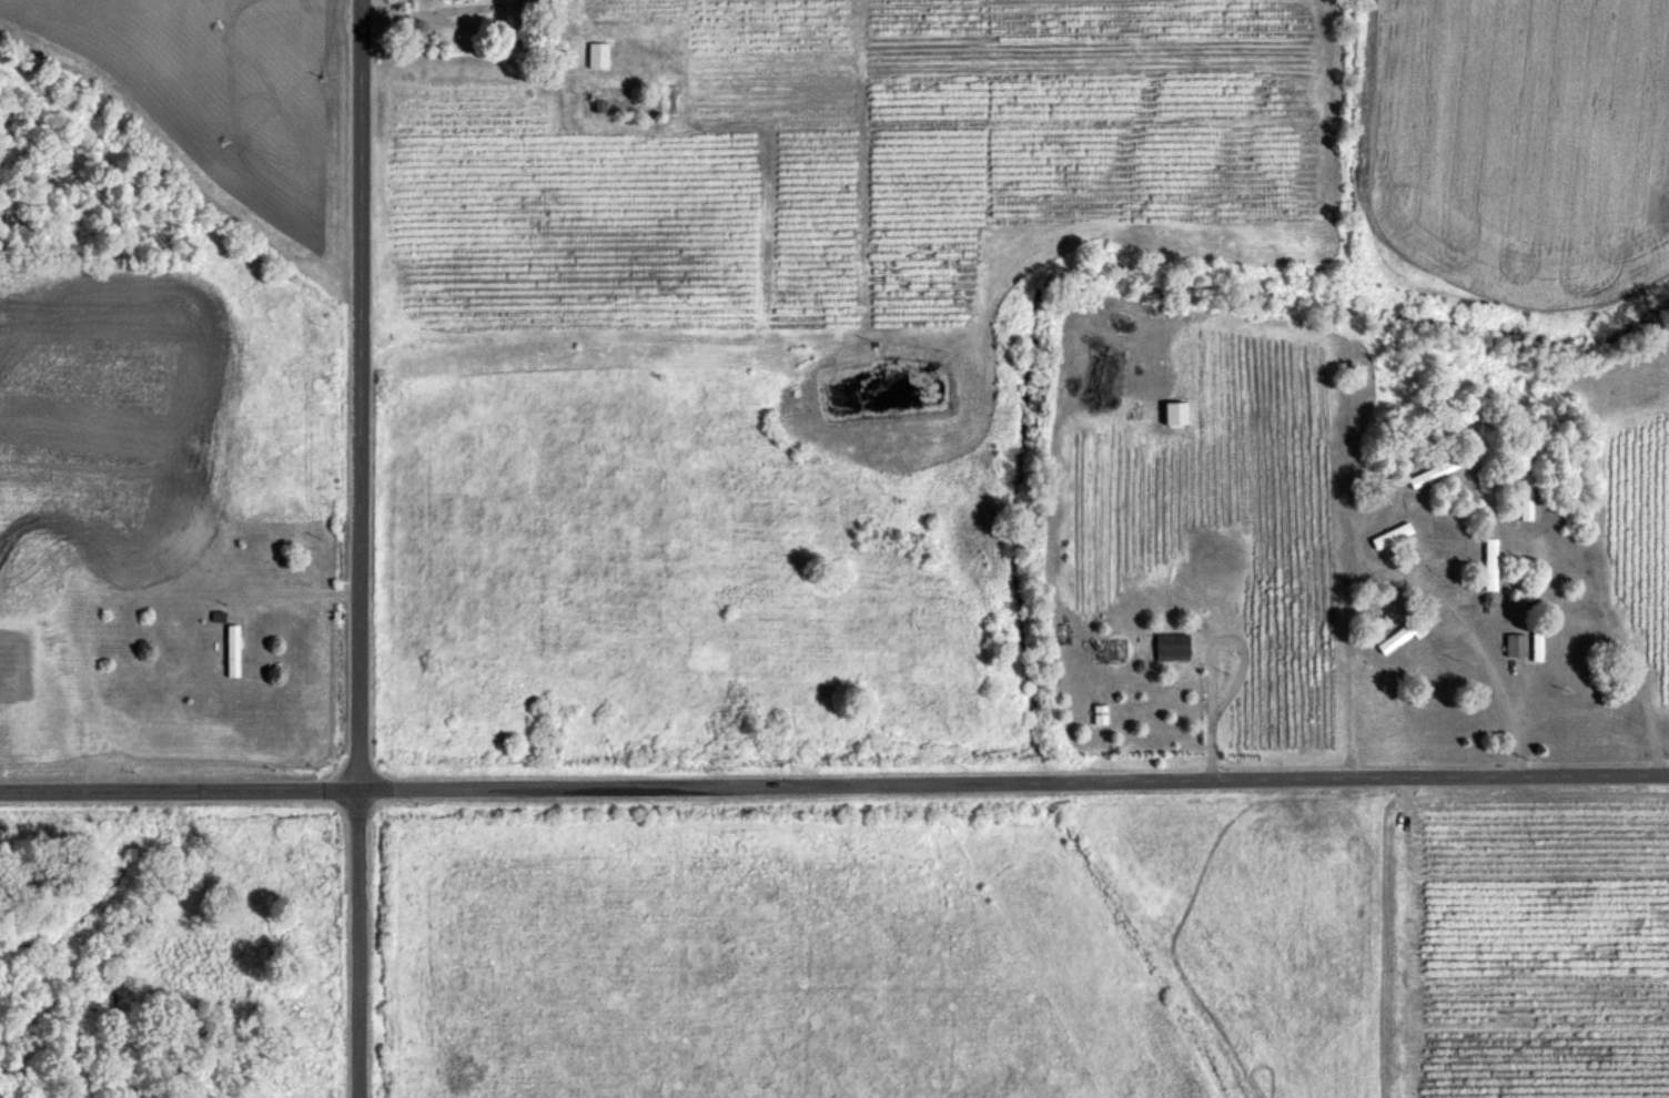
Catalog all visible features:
building: (596, 54)
building: (1173, 413)
building: (1523, 499)
building: (1388, 535)
road: (364, 548)
building: (1487, 563)
road: (1625, 636)
building: (1513, 644)
building: (1171, 645)
building: (231, 650)
road: (1493, 660)
building: (1099, 713)
road: (834, 781)

